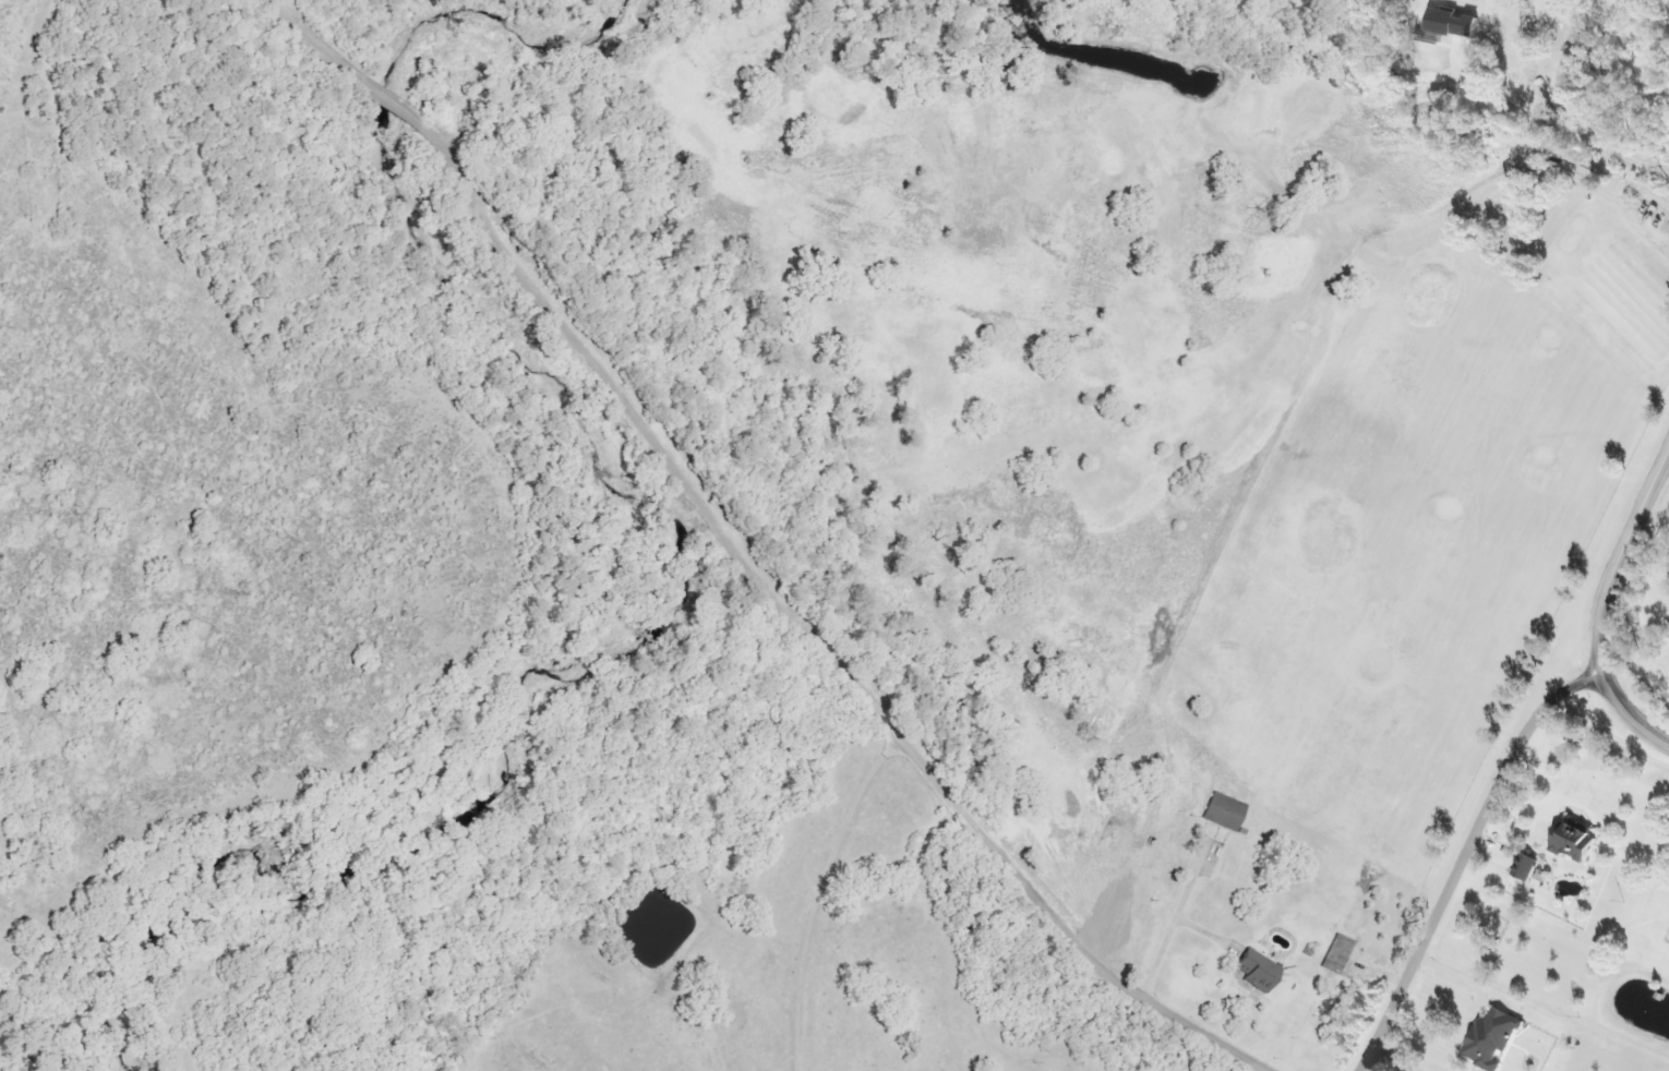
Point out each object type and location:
building: (1450, 24)
road: (1611, 149)
road: (1614, 555)
road: (743, 558)
road: (1628, 720)
building: (1228, 811)
building: (1573, 845)
road: (1460, 858)
building: (1535, 870)
road: (819, 892)
road: (1161, 949)
building: (1333, 958)
building: (1254, 975)
road: (1461, 978)
building: (1497, 1039)
road: (1390, 1056)

